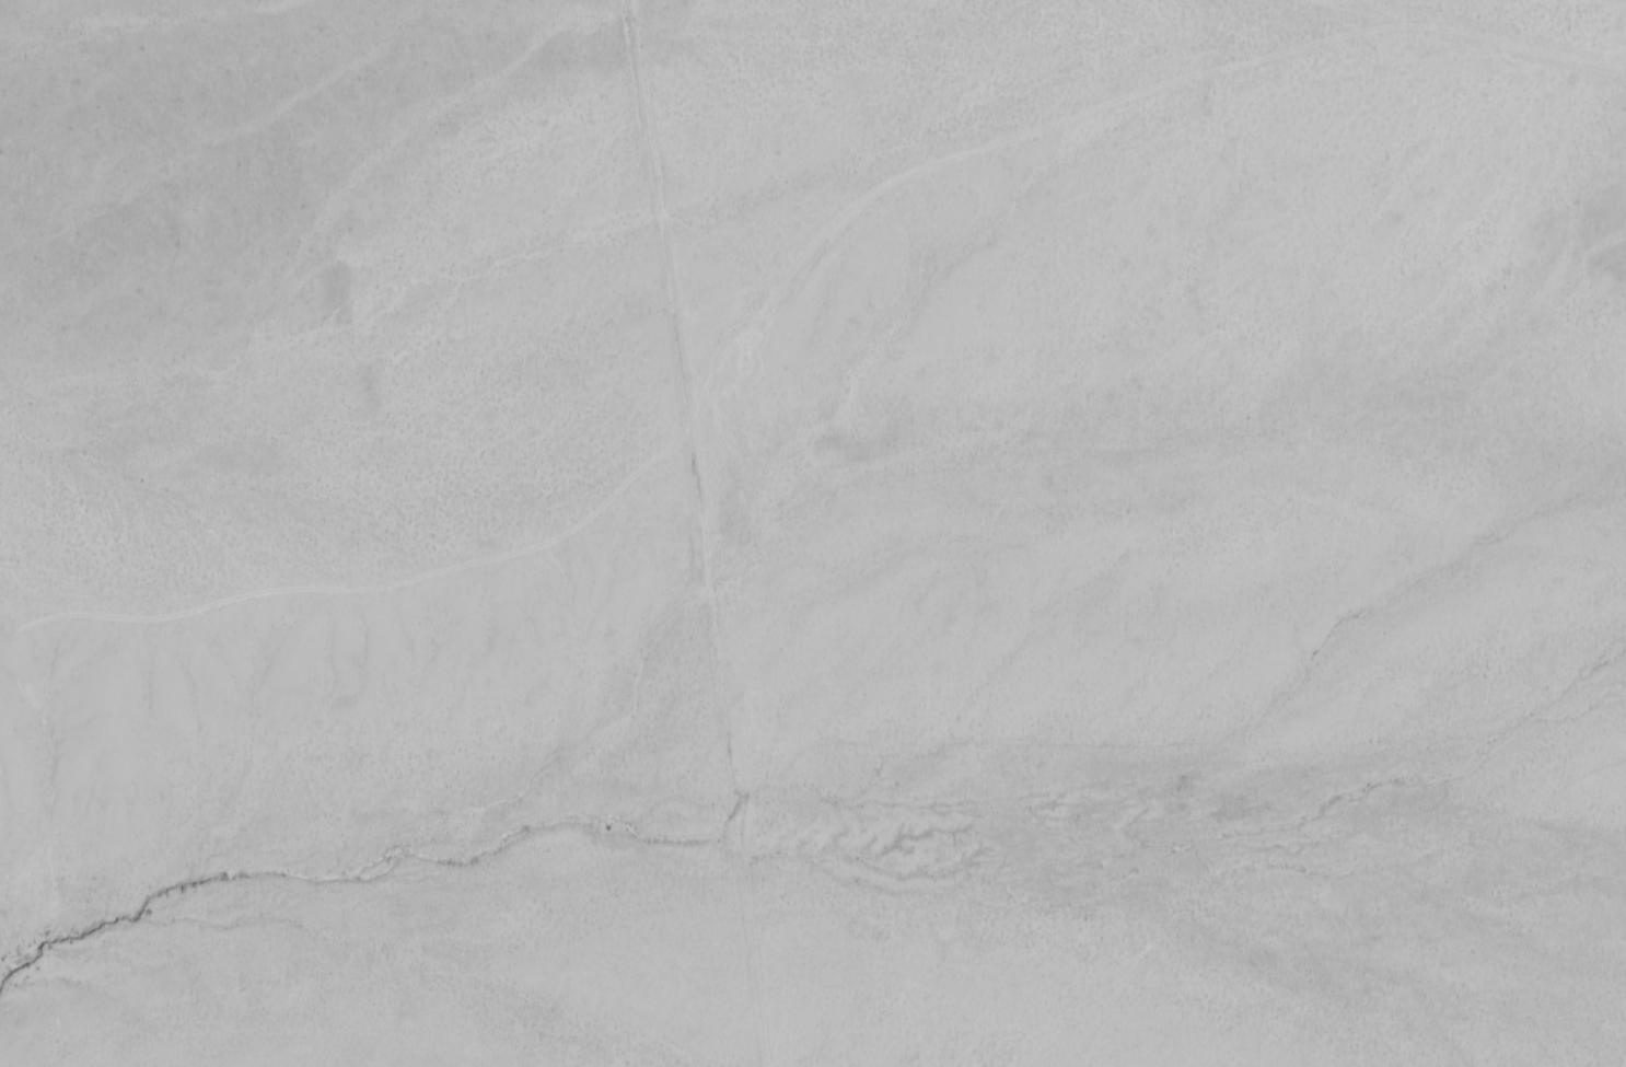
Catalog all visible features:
road: (1439, 50)
road: (812, 770)

